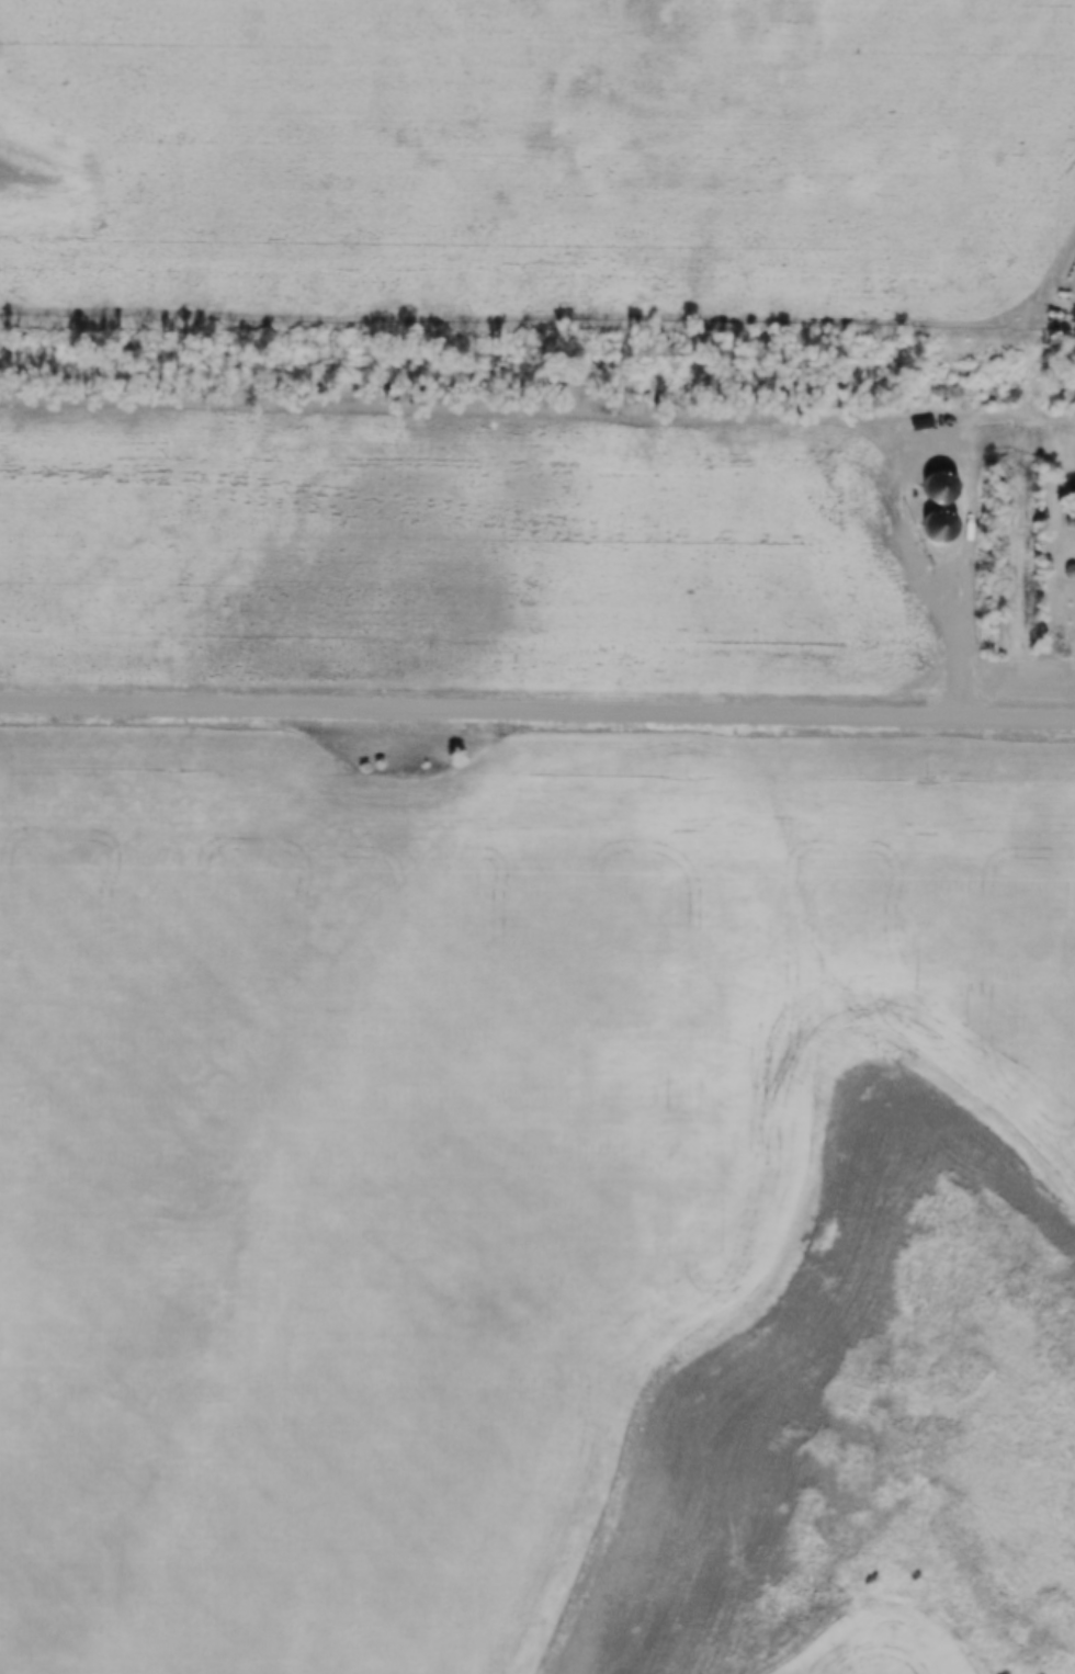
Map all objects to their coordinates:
road: (537, 711)

